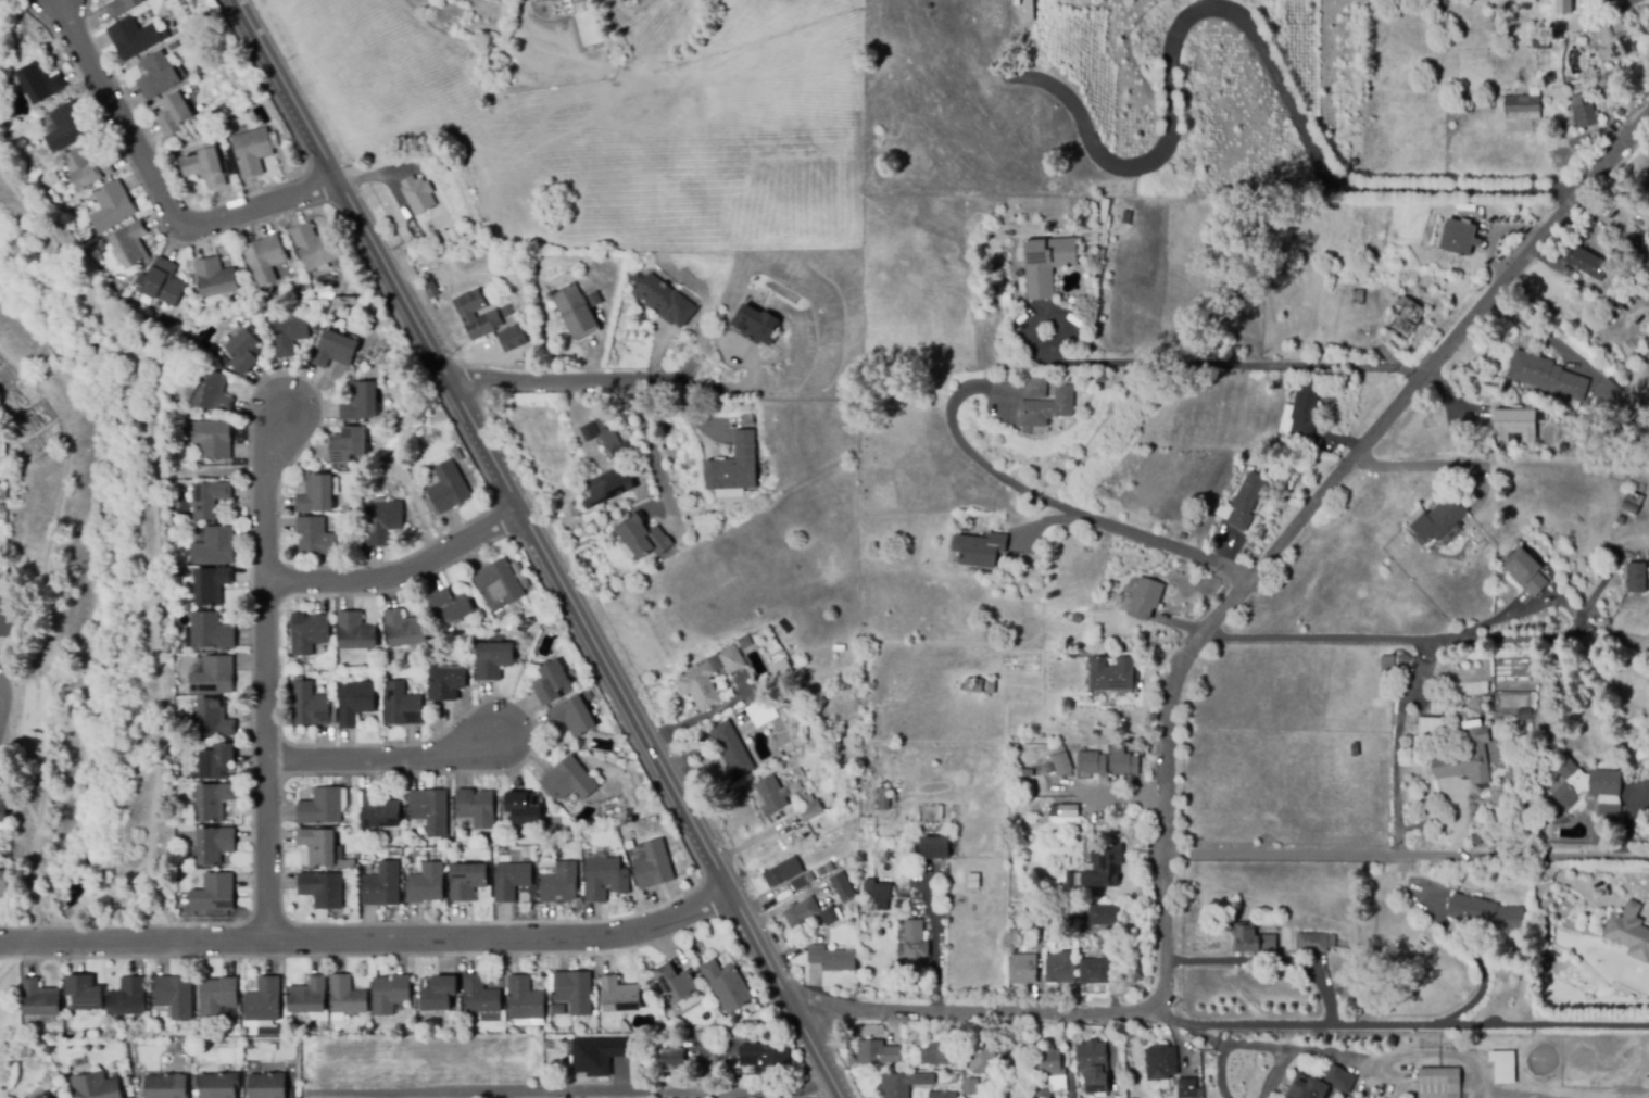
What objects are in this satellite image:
building: (545, 0)
building: (555, 0)
building: (640, 0)
building: (627, 1)
building: (1606, 2)
building: (1443, 3)
building: (123, 7)
building: (1563, 7)
road: (1256, 30)
building: (1551, 36)
building: (135, 38)
building: (1616, 41)
building: (159, 76)
building: (40, 84)
building: (250, 94)
building: (1522, 104)
building: (1476, 105)
building: (1586, 113)
building: (1620, 113)
building: (174, 115)
building: (67, 127)
building: (253, 151)
building: (204, 166)
building: (86, 169)
road: (159, 186)
building: (418, 197)
building: (109, 207)
building: (980, 214)
building: (455, 234)
building: (1632, 236)
building: (1459, 238)
building: (130, 244)
building: (316, 249)
building: (1588, 253)
building: (266, 257)
building: (1046, 265)
building: (1642, 265)
building: (215, 277)
building: (162, 283)
building: (432, 288)
building: (272, 291)
building: (298, 292)
building: (326, 295)
building: (1357, 298)
building: (441, 301)
building: (665, 301)
building: (319, 310)
building: (574, 311)
building: (467, 315)
building: (1406, 318)
building: (754, 323)
building: (287, 336)
building: (513, 339)
building: (1327, 346)
building: (335, 350)
building: (243, 352)
building: (224, 361)
road: (1181, 365)
building: (1547, 376)
building: (1100, 377)
road: (564, 379)
building: (1035, 388)
building: (1608, 392)
building: (213, 393)
building: (361, 403)
building: (1048, 407)
building: (1304, 408)
building: (599, 420)
building: (1515, 425)
building: (589, 432)
building: (608, 438)
building: (211, 439)
building: (348, 444)
building: (620, 449)
road: (652, 455)
road: (1430, 464)
building: (735, 466)
building: (1297, 466)
building: (430, 469)
road: (212, 470)
building: (336, 487)
building: (446, 490)
building: (605, 490)
road: (1034, 493)
building: (316, 495)
building: (209, 500)
building: (1247, 501)
building: (1631, 503)
building: (2, 509)
building: (1438, 520)
building: (382, 521)
building: (315, 537)
building: (1183, 537)
building: (643, 538)
building: (215, 546)
road: (539, 547)
building: (980, 550)
road: (158, 553)
building: (1525, 571)
road: (400, 572)
building: (1638, 578)
park: (84, 581)
building: (499, 584)
building: (211, 585)
building: (1145, 598)
road: (1565, 602)
building: (452, 605)
building: (532, 605)
building: (4, 617)
building: (1077, 618)
building: (404, 629)
building: (177, 631)
building: (211, 632)
building: (355, 633)
road: (48, 634)
building: (310, 634)
building: (745, 642)
building: (494, 659)
building: (731, 660)
road: (25, 662)
building: (1387, 667)
building: (782, 672)
road: (1192, 672)
road: (265, 673)
building: (1112, 674)
building: (214, 677)
building: (446, 681)
building: (552, 683)
building: (701, 687)
building: (984, 687)
building: (587, 695)
building: (354, 702)
building: (312, 706)
building: (402, 706)
building: (757, 710)
building: (823, 712)
building: (1525, 715)
building: (572, 717)
building: (214, 719)
building: (1430, 729)
building: (580, 744)
building: (732, 750)
building: (1355, 750)
road: (1399, 750)
road: (382, 756)
building: (1468, 758)
building: (218, 762)
building: (1122, 762)
building: (1092, 763)
building: (1059, 765)
building: (1024, 773)
building: (570, 779)
building: (600, 780)
building: (1586, 783)
building: (771, 795)
building: (884, 799)
building: (213, 802)
building: (569, 803)
building: (324, 806)
building: (525, 808)
building: (3, 809)
building: (430, 809)
building: (378, 810)
building: (475, 810)
building: (1610, 810)
building: (810, 811)
building: (1066, 811)
building: (349, 833)
building: (1602, 836)
building: (215, 845)
building: (320, 846)
building: (935, 847)
building: (610, 850)
road: (1523, 856)
building: (653, 866)
building: (1104, 866)
building: (783, 872)
building: (821, 872)
building: (604, 879)
building: (467, 881)
building: (511, 881)
building: (424, 882)
building: (800, 883)
building: (4, 884)
building: (381, 884)
building: (559, 884)
building: (843, 887)
building: (323, 889)
building: (877, 889)
building: (214, 893)
road: (158, 895)
building: (810, 913)
building: (1486, 914)
building: (1104, 916)
building: (1629, 932)
building: (1037, 937)
road: (368, 938)
building: (1067, 939)
building: (1253, 941)
building: (1333, 942)
building: (1312, 944)
building: (916, 945)
building: (831, 958)
road: (1273, 960)
building: (1022, 969)
building: (1060, 970)
building: (1095, 971)
building: (676, 983)
building: (727, 986)
road: (1485, 987)
building: (575, 992)
building: (84, 993)
building: (438, 993)
building: (390, 994)
building: (479, 995)
building: (174, 996)
building: (217, 996)
building: (309, 996)
building: (345, 996)
building: (621, 996)
building: (128, 997)
building: (40, 999)
building: (525, 1000)
building: (263, 1002)
park: (8, 1020)
road: (1398, 1028)
building: (877, 1053)
building: (941, 1053)
building: (597, 1056)
building: (1092, 1056)
building: (765, 1057)
building: (982, 1057)
building: (672, 1058)
building: (1161, 1063)
building: (1502, 1065)
building: (1050, 1067)
building: (734, 1074)
building: (1439, 1083)
building: (903, 1084)
building: (1095, 1084)
building: (1322, 1085)
building: (163, 1086)
building: (217, 1086)
building: (266, 1086)
building: (970, 1087)
building: (102, 1088)
building: (1187, 1089)
road: (570, 1090)
building: (43, 1096)
building: (942, 1096)

